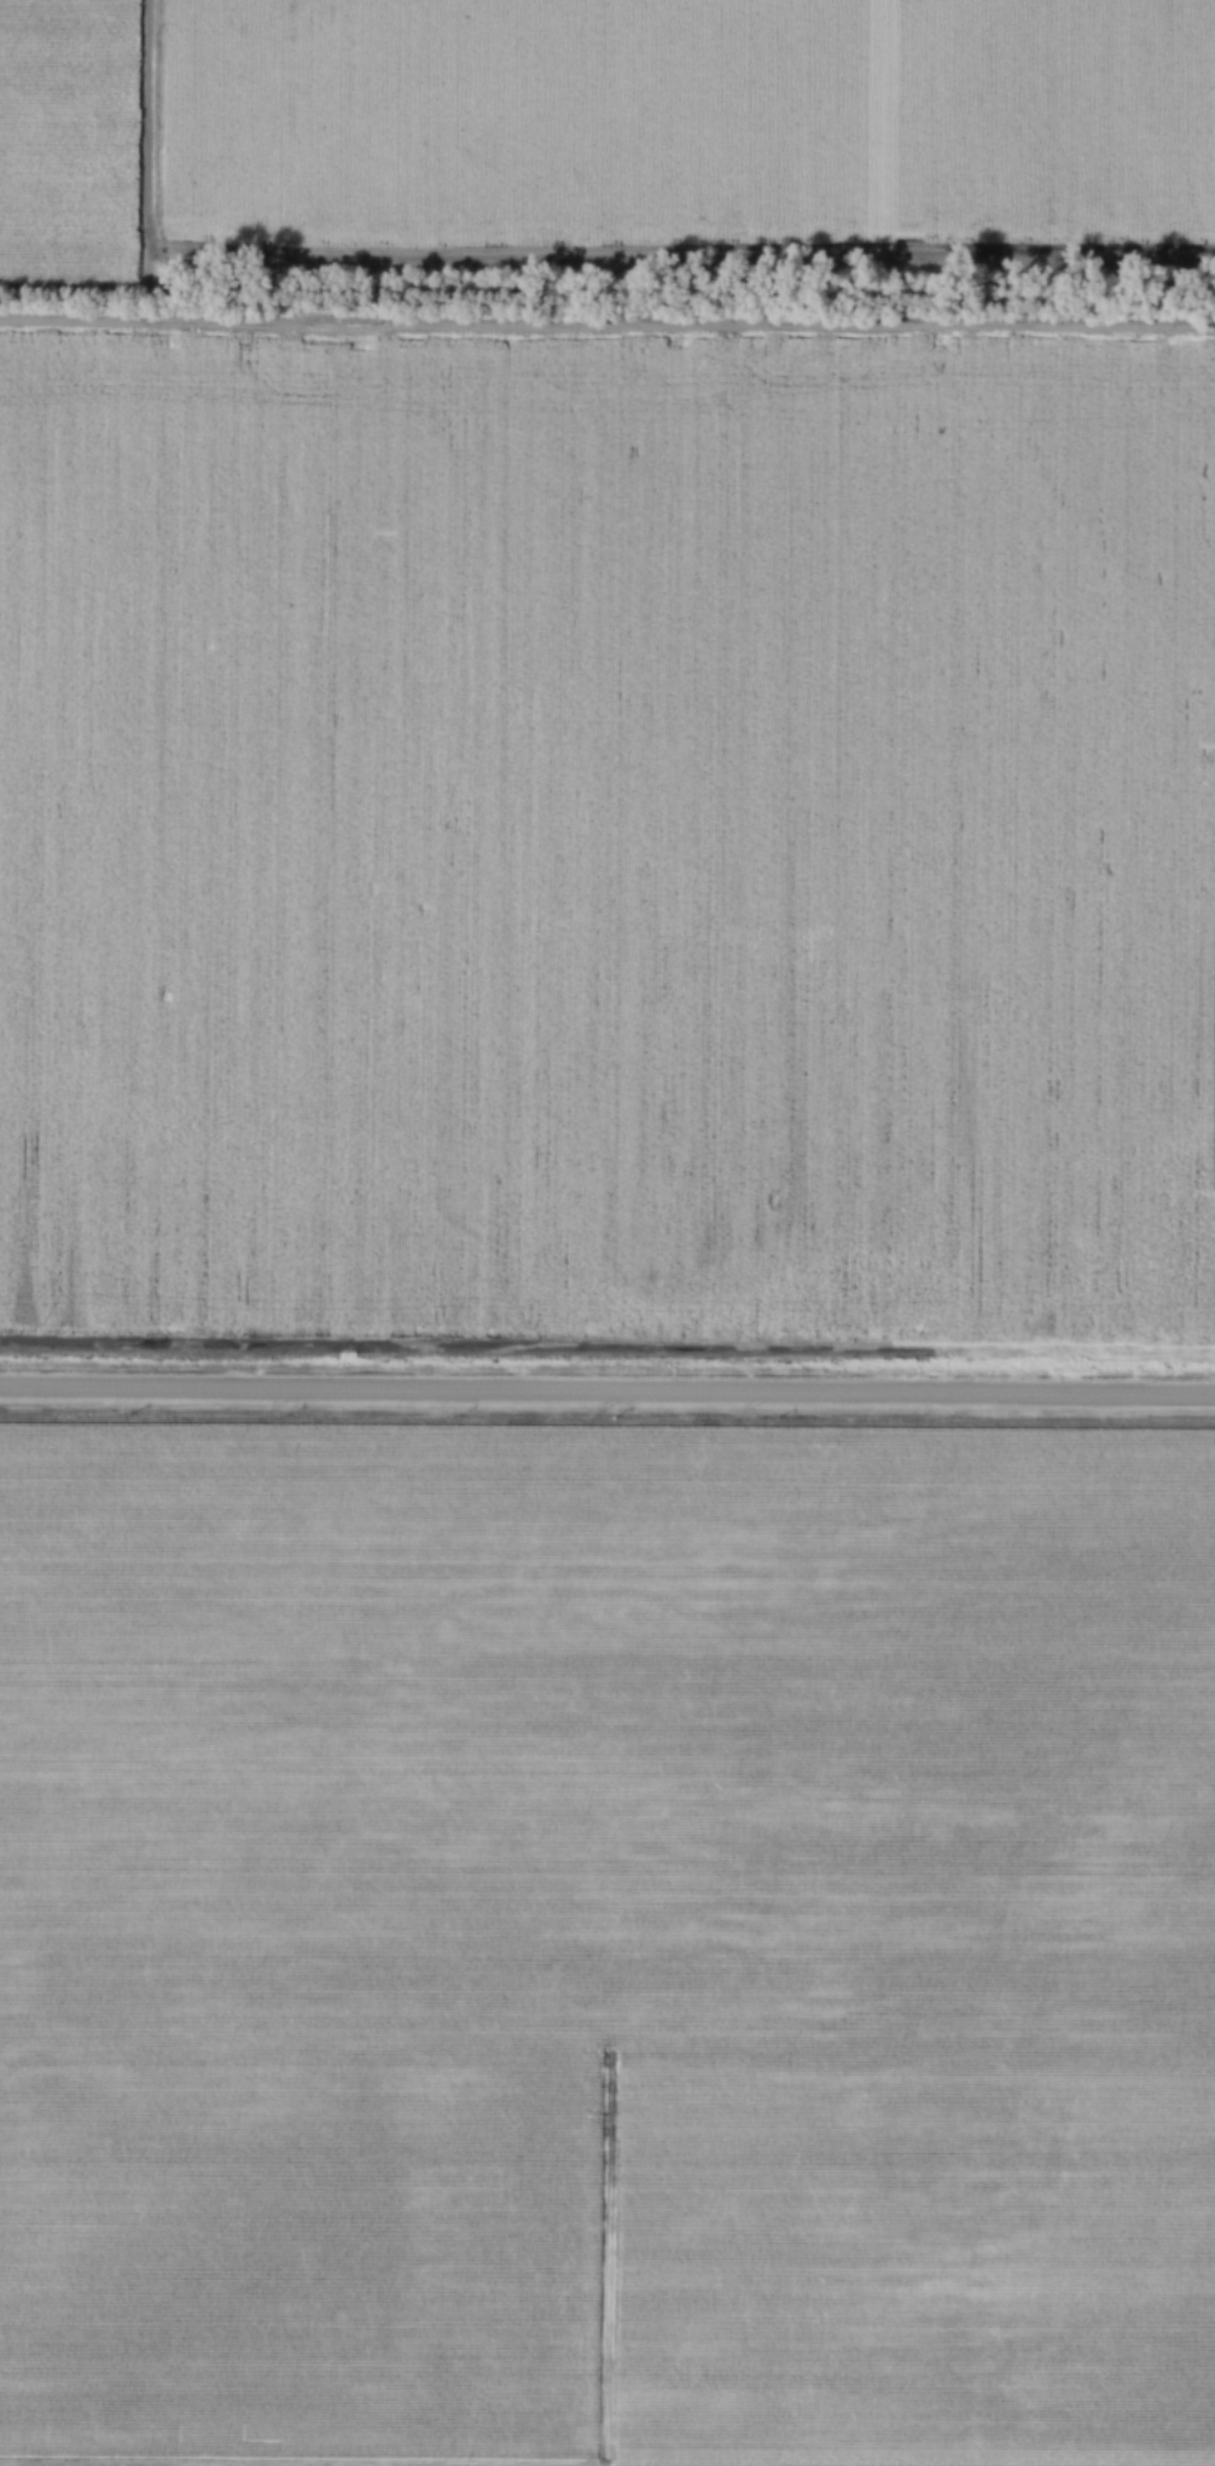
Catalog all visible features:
crop: (70, 133)
road: (607, 1394)

